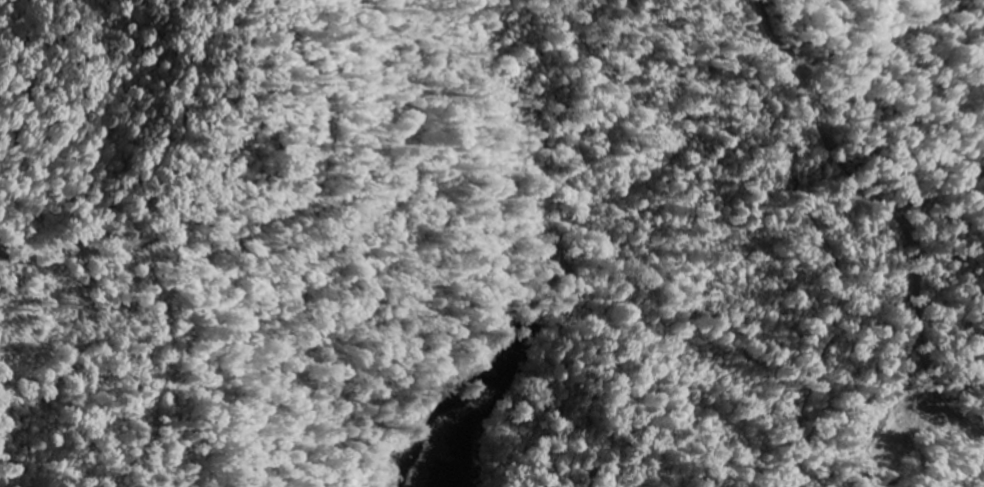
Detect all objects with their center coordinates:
road: (135, 153)
road: (917, 193)

